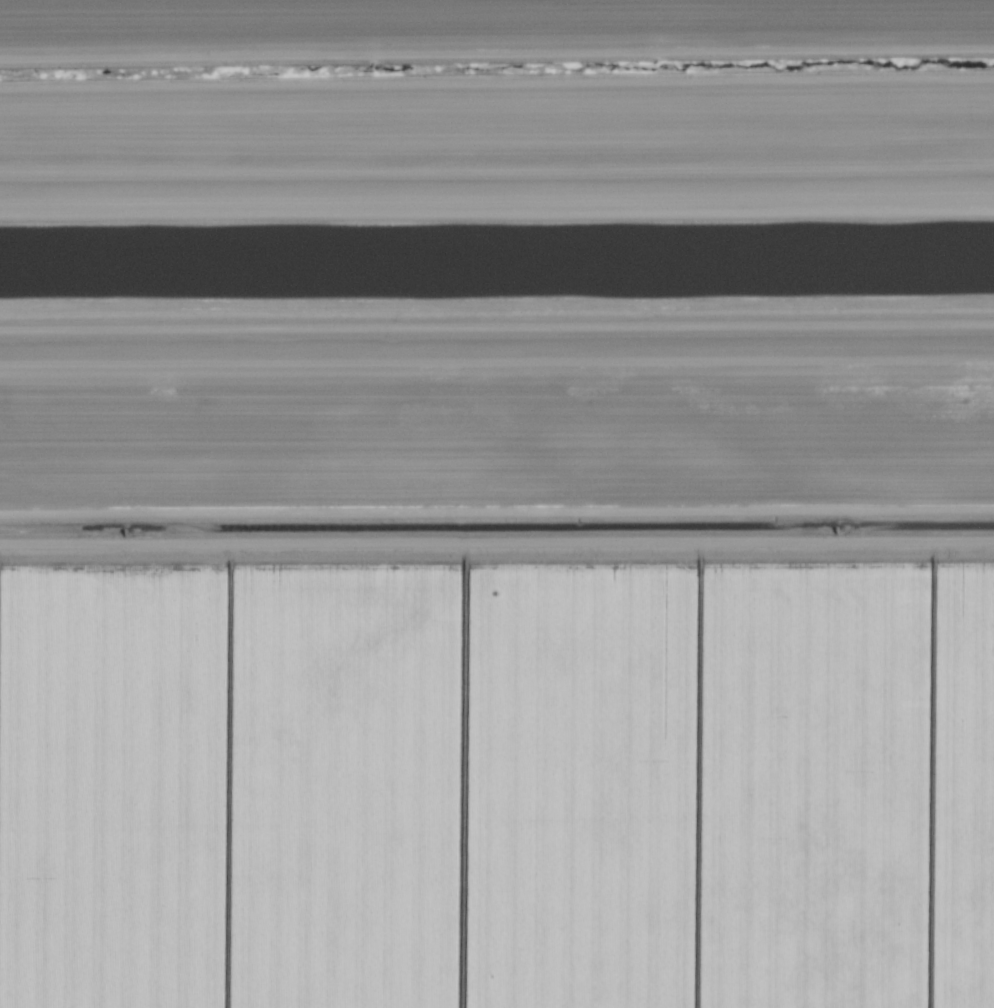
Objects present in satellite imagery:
crop: (487, 29)
road: (497, 171)
river: (497, 268)
road: (497, 313)

